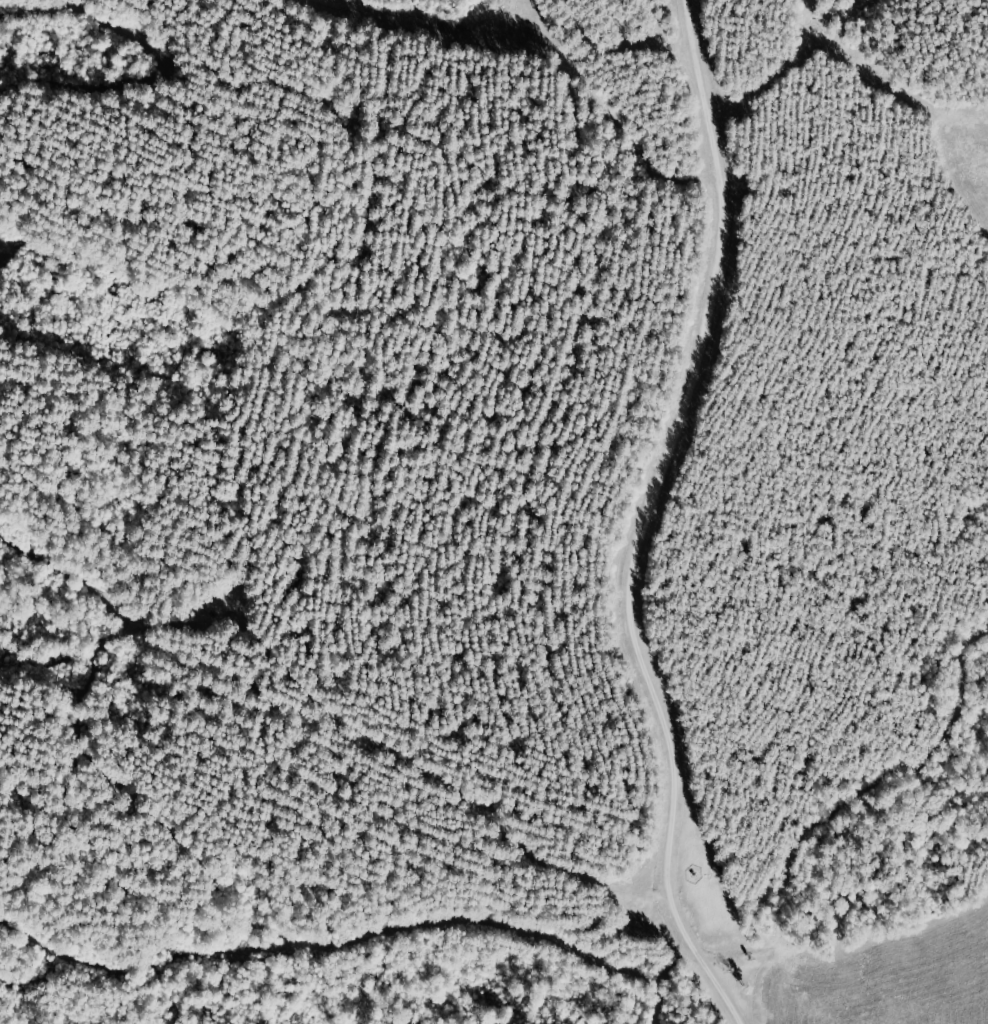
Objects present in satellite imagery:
road: (642, 519)

